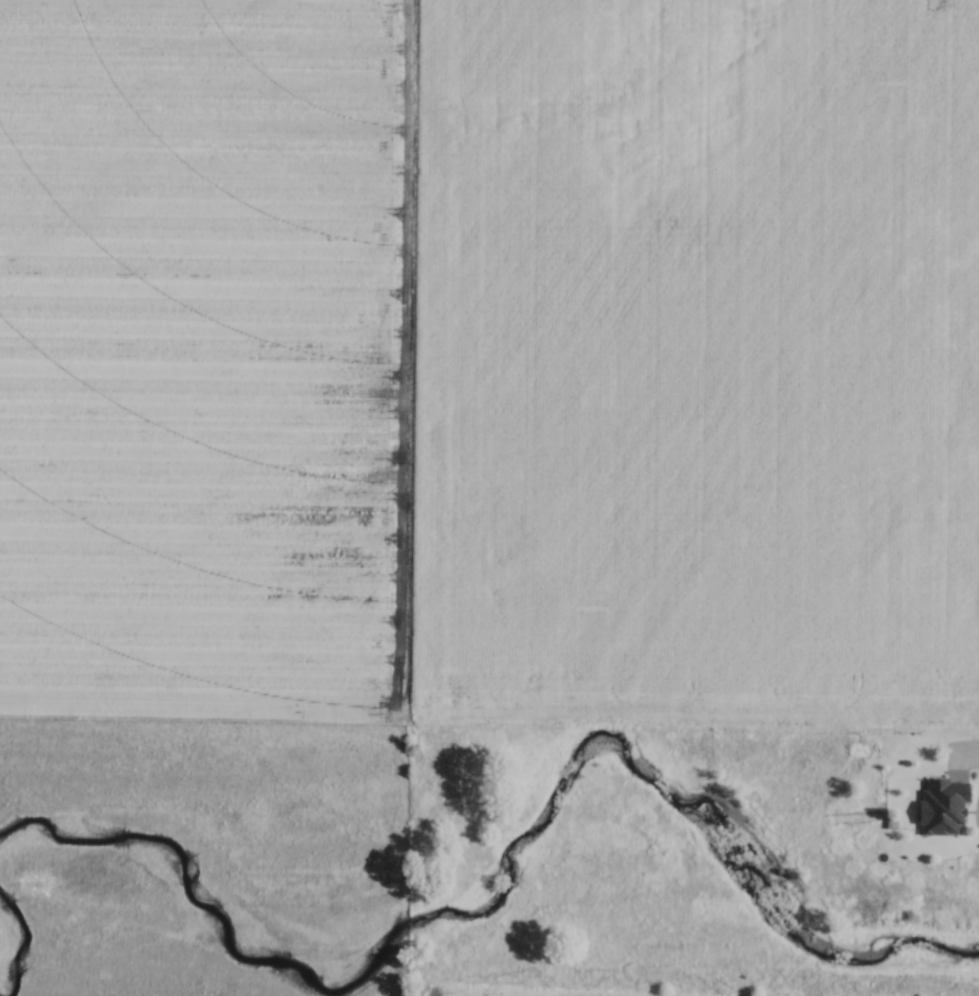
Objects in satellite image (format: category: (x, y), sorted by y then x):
building: (946, 806)

